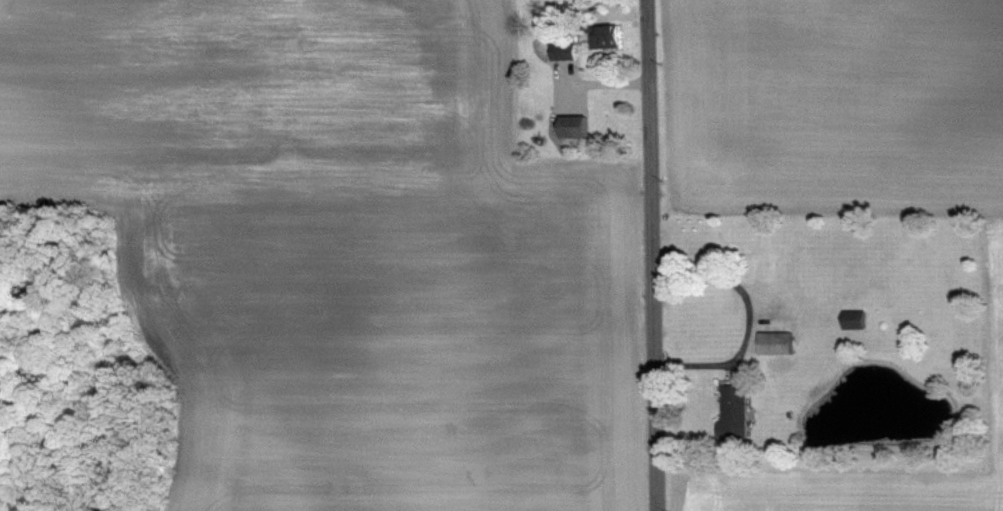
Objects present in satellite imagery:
building: (603, 37)
building: (561, 52)
building: (569, 127)
road: (652, 255)
road: (750, 319)
building: (852, 320)
building: (772, 343)
building: (731, 413)

